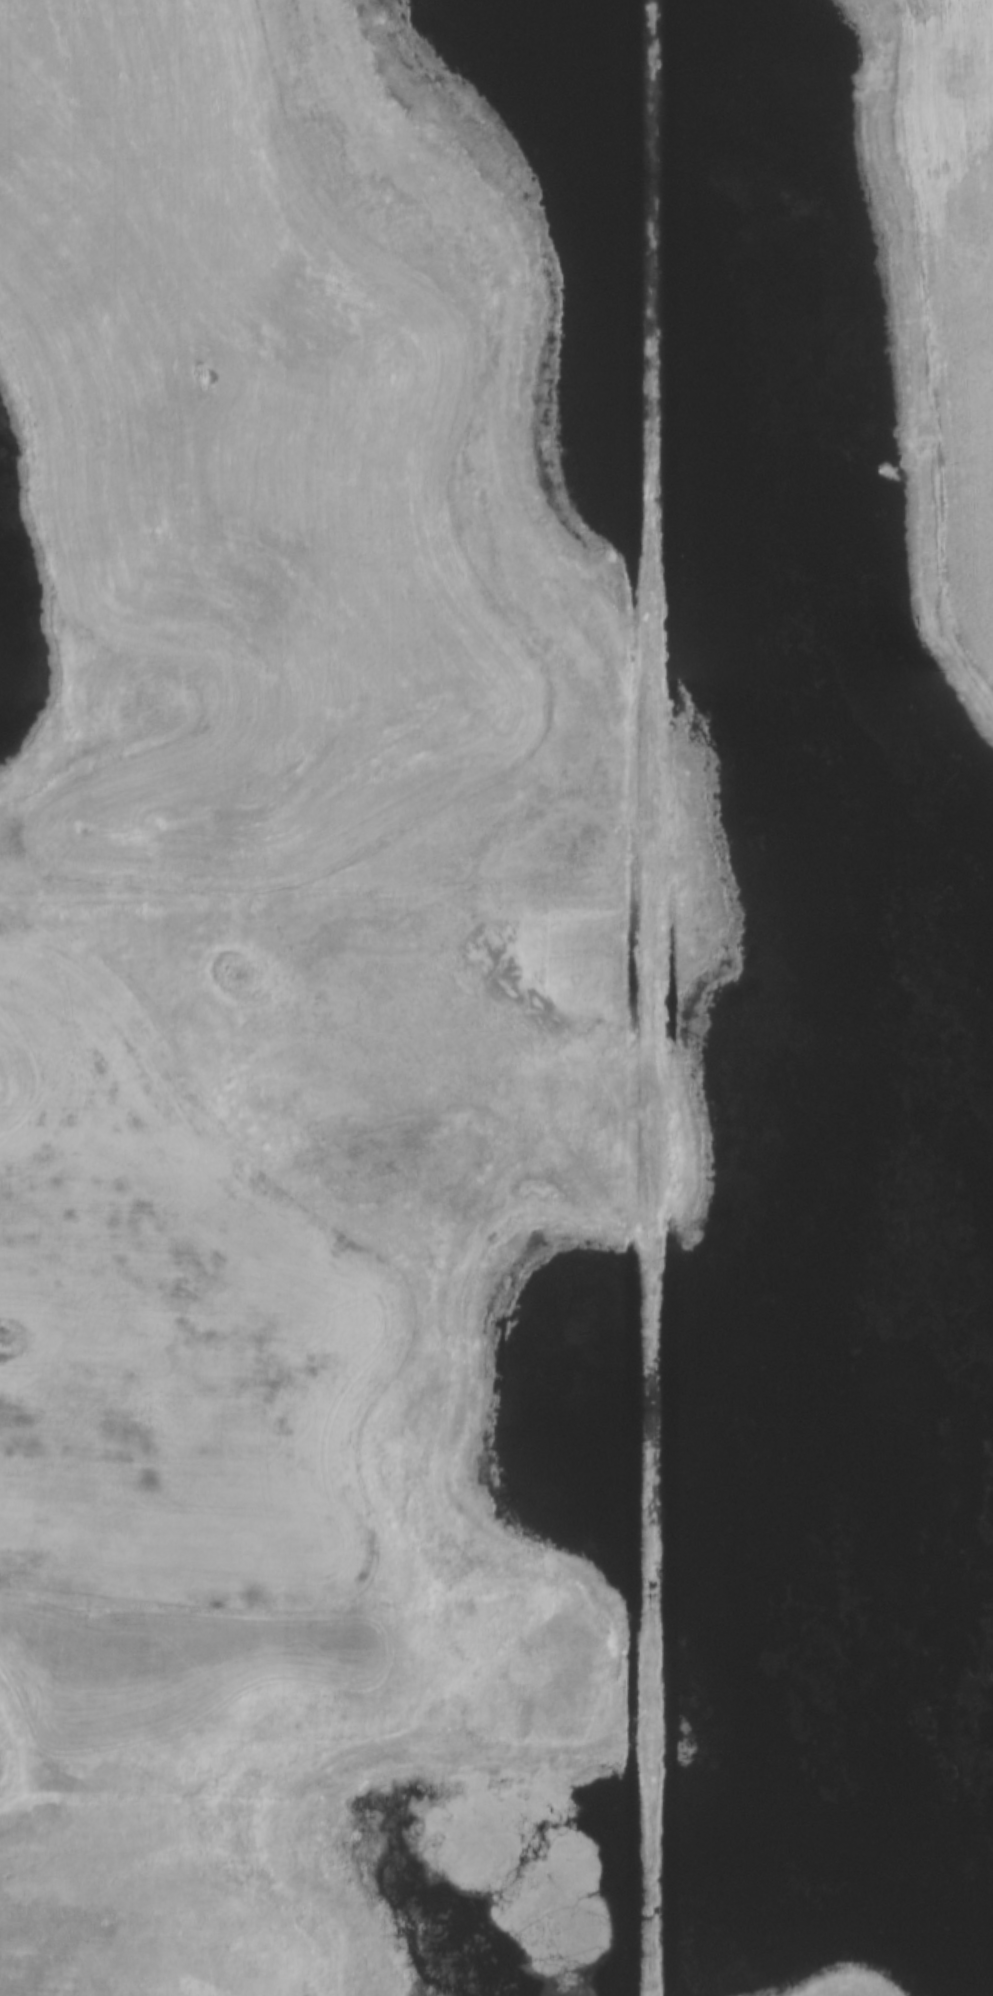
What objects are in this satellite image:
road: (644, 997)
crop: (162, 1313)

